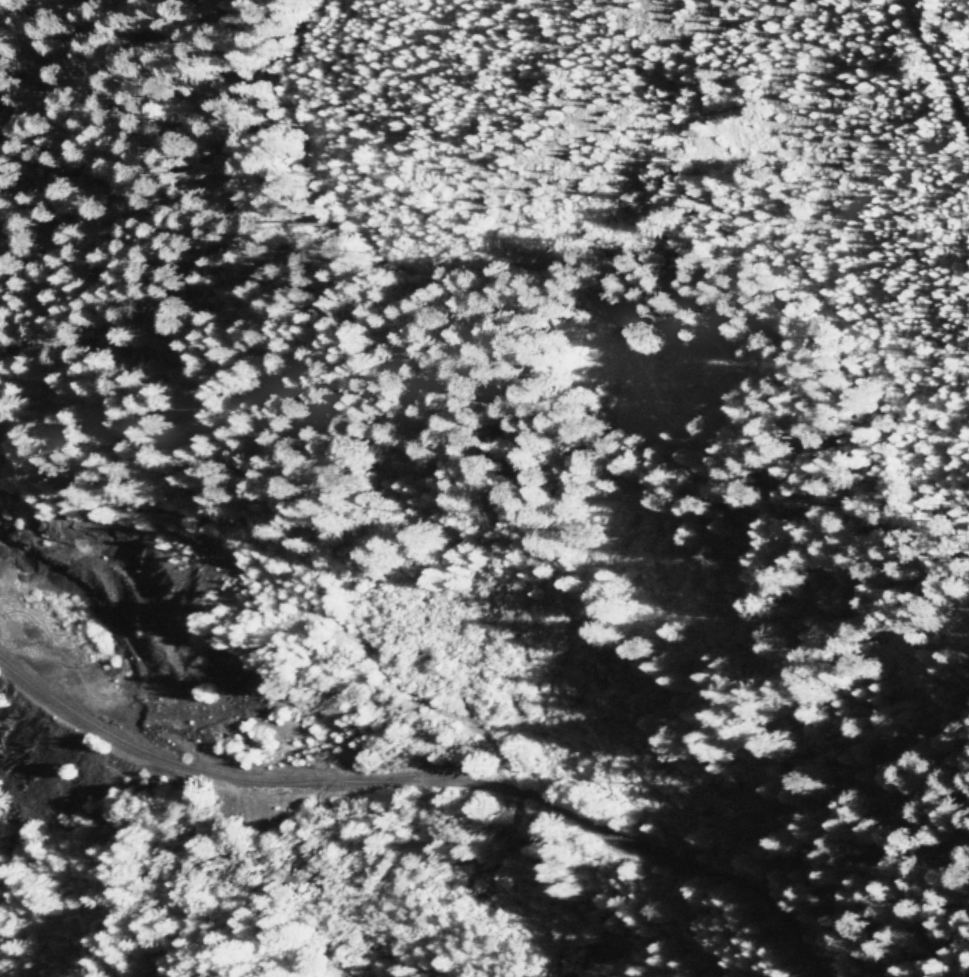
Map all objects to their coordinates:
road: (949, 86)
road: (416, 790)

